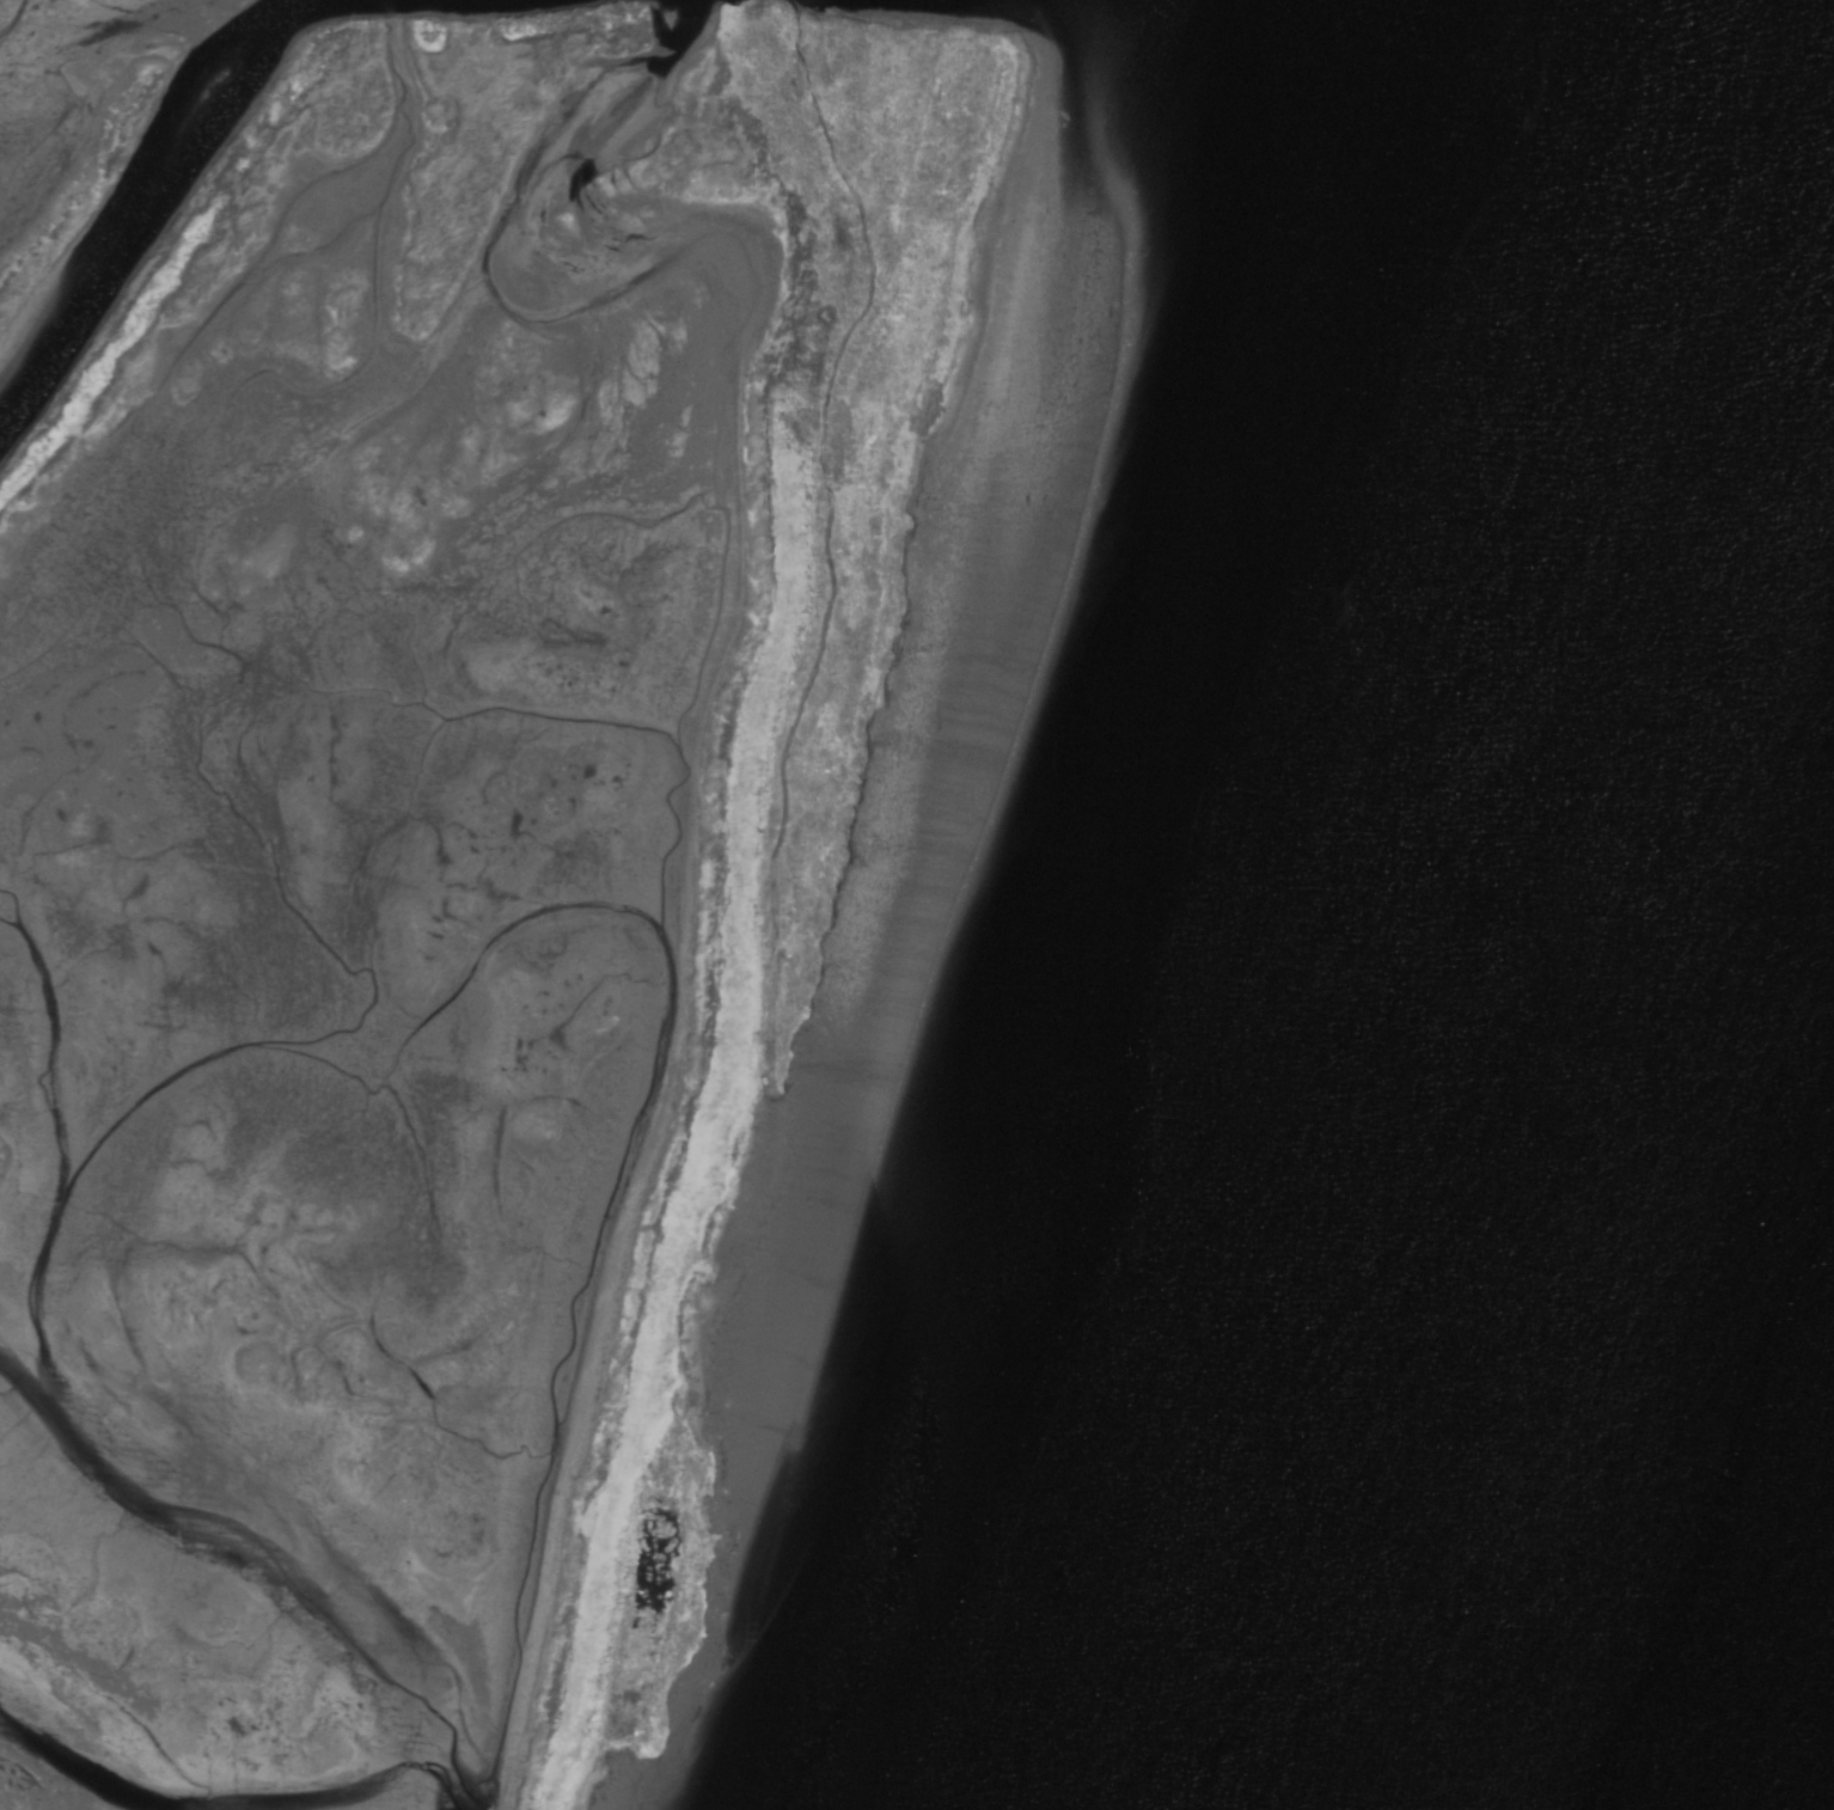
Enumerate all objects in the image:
river: (1540, 905)

